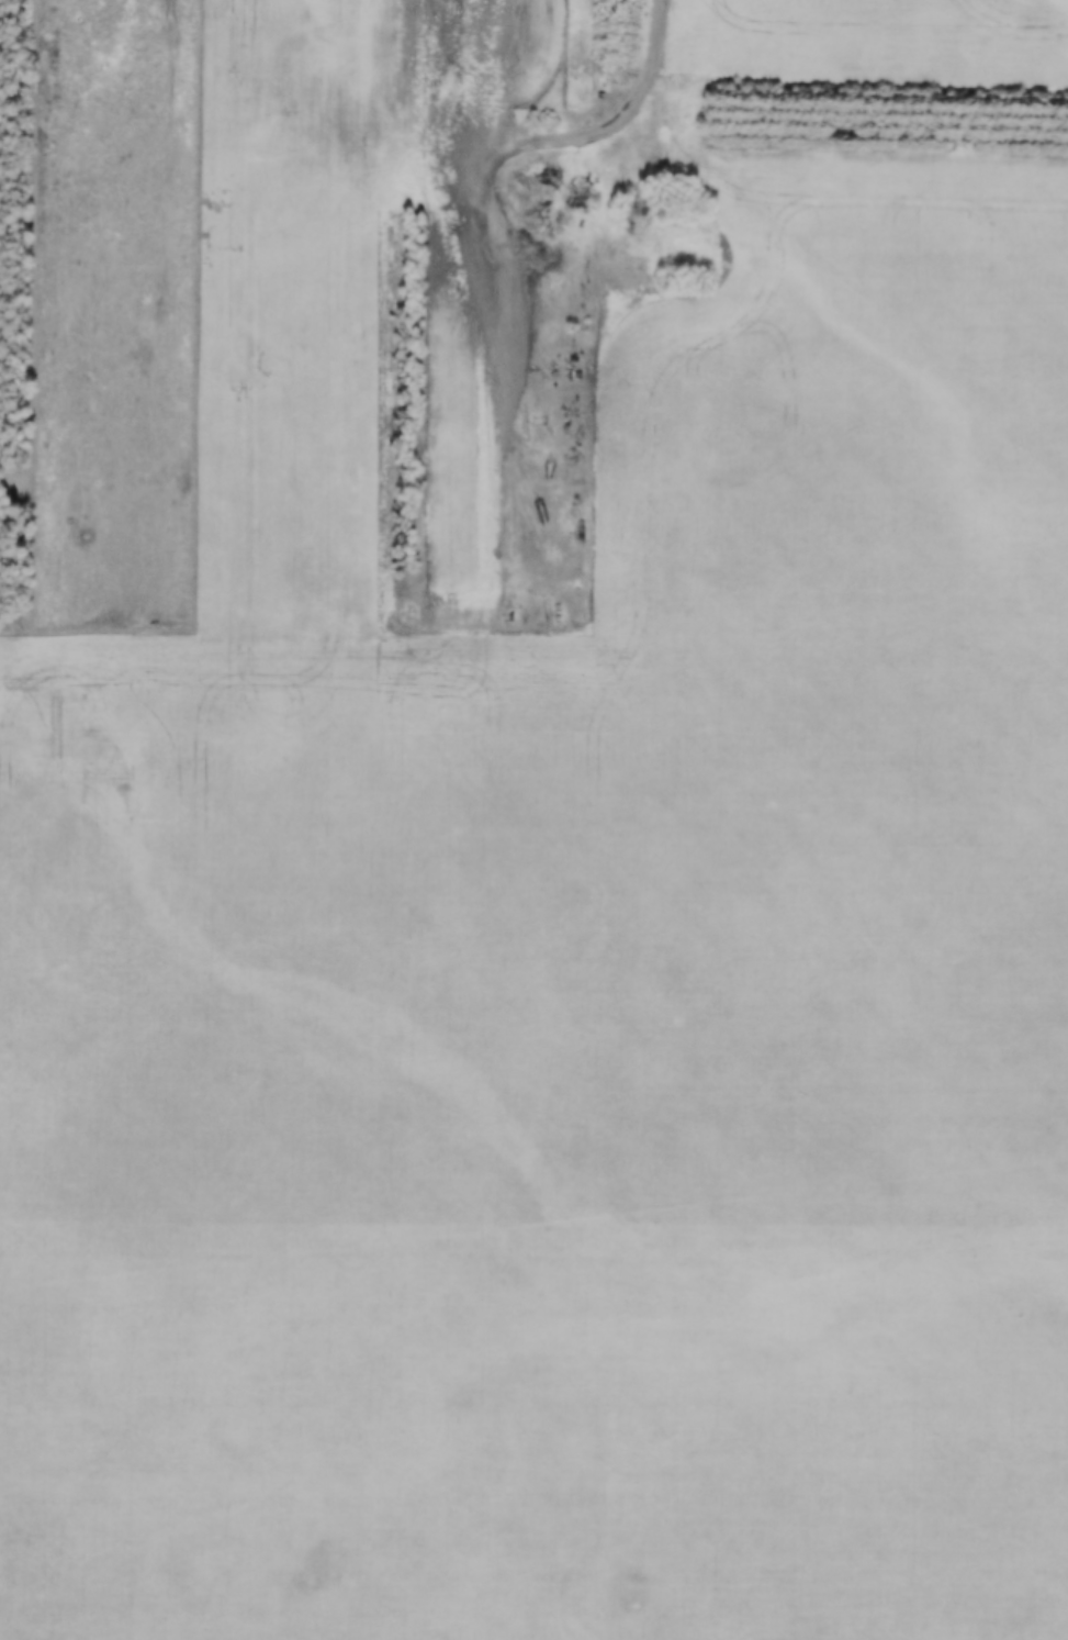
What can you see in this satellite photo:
road: (469, 314)

